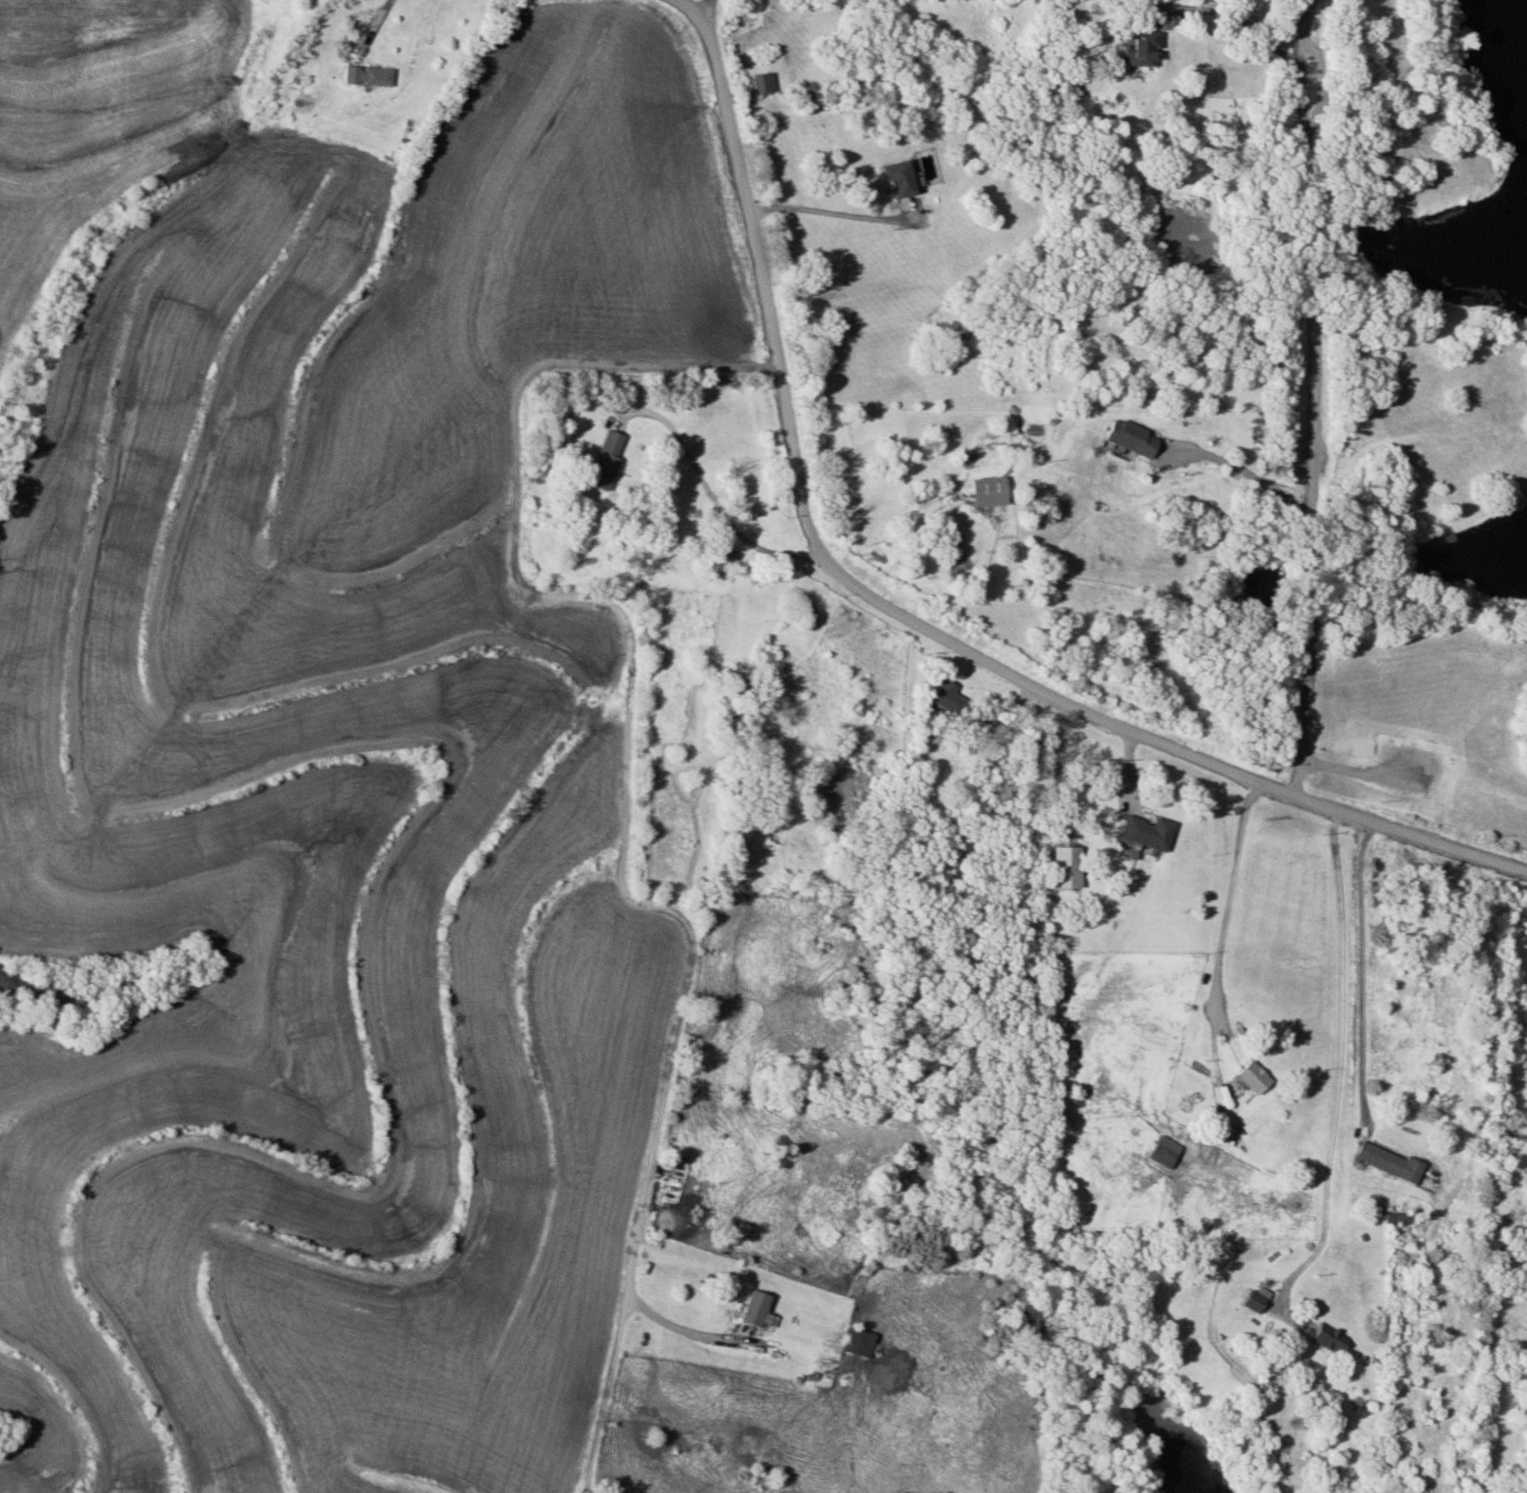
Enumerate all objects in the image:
road: (703, 17)
road: (1234, 22)
building: (1135, 48)
building: (348, 75)
building: (375, 76)
building: (759, 83)
building: (892, 179)
road: (1311, 398)
building: (1124, 438)
building: (600, 459)
road: (703, 490)
building: (982, 492)
building: (714, 559)
road: (899, 613)
building: (942, 697)
road: (632, 760)
road: (1358, 773)
building: (1141, 832)
road: (1228, 910)
road: (1364, 1007)
building: (1526, 1058)
road: (1341, 1067)
building: (1248, 1078)
building: (1380, 1162)
building: (1388, 1217)
building: (1247, 1300)
building: (748, 1308)
building: (1324, 1337)
building: (853, 1342)
road: (607, 1394)
building: (1355, 1405)

